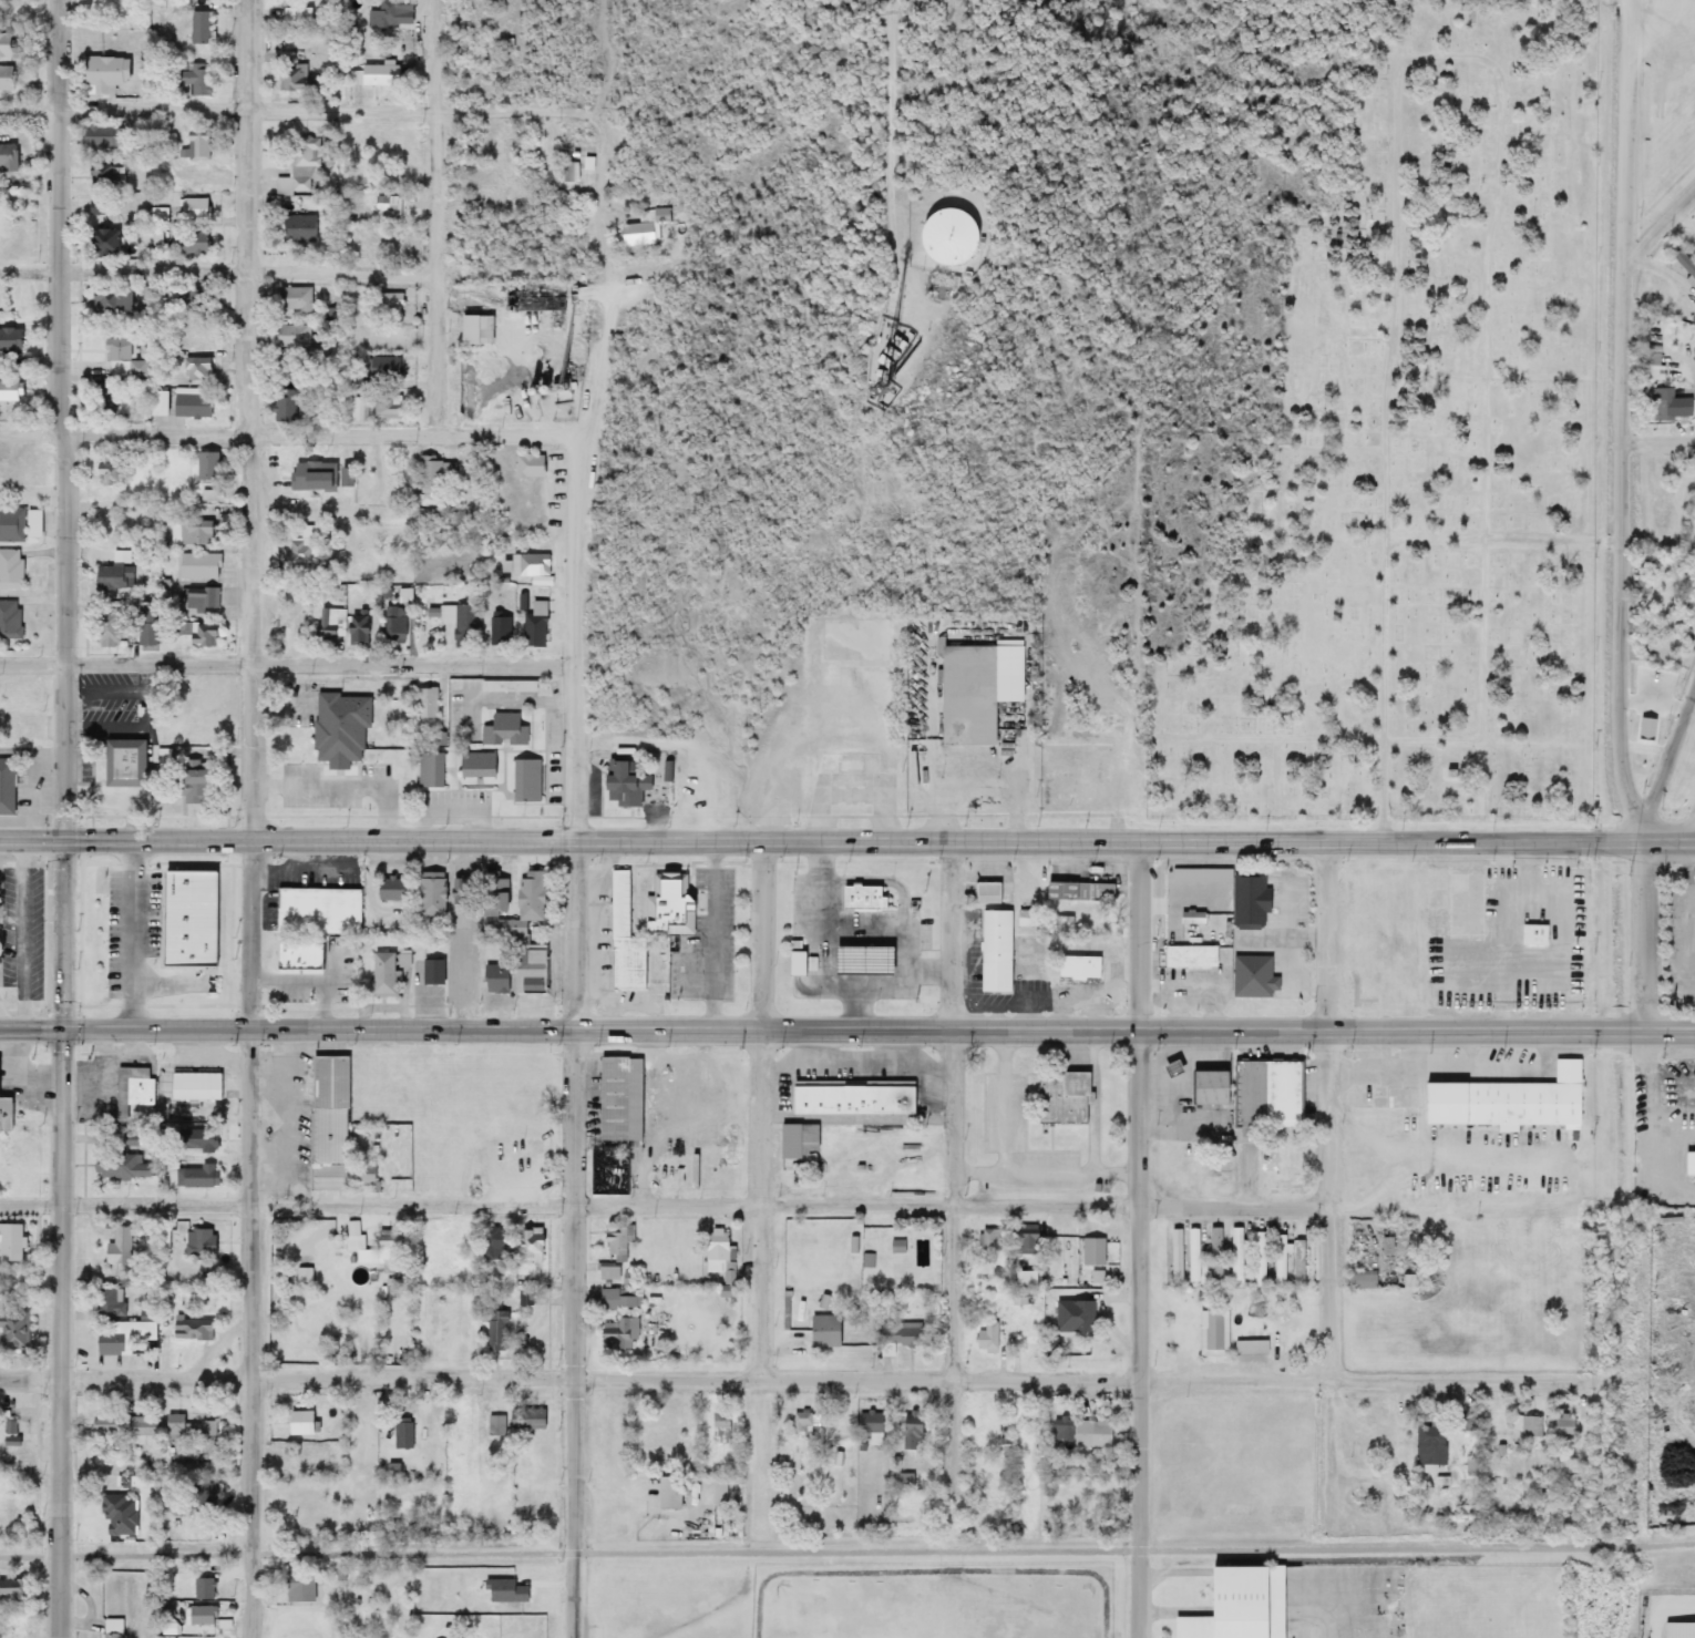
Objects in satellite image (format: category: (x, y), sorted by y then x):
road: (1663, 7)
building: (383, 13)
building: (295, 17)
building: (198, 29)
building: (101, 73)
building: (378, 76)
building: (4, 79)
building: (292, 79)
building: (192, 82)
road: (300, 111)
road: (894, 140)
building: (194, 145)
building: (6, 156)
building: (103, 176)
building: (298, 176)
building: (95, 207)
building: (387, 208)
building: (192, 211)
road: (438, 213)
building: (6, 221)
road: (1661, 223)
building: (157, 225)
building: (297, 228)
storage tank: (924, 238)
building: (926, 240)
building: (97, 243)
building: (188, 243)
road: (304, 272)
building: (913, 293)
building: (194, 298)
building: (292, 299)
building: (110, 303)
building: (387, 303)
road: (60, 330)
building: (473, 330)
building: (188, 336)
building: (291, 338)
building: (8, 340)
building: (867, 347)
building: (122, 359)
building: (192, 369)
building: (390, 369)
building: (9, 390)
building: (99, 400)
building: (155, 405)
building: (188, 405)
building: (1664, 406)
building: (284, 407)
building: (386, 408)
road: (1625, 409)
building: (1691, 409)
road: (1386, 411)
road: (248, 420)
road: (323, 428)
road: (1487, 439)
road: (1660, 441)
park: (1409, 448)
building: (205, 467)
building: (526, 467)
building: (106, 469)
building: (318, 475)
building: (434, 475)
road: (577, 477)
building: (209, 495)
building: (204, 511)
building: (18, 524)
building: (194, 532)
road: (1504, 534)
building: (299, 553)
building: (527, 564)
building: (197, 565)
building: (10, 567)
building: (114, 572)
building: (1688, 588)
building: (198, 597)
building: (1683, 605)
building: (9, 620)
building: (460, 622)
building: (140, 623)
building: (392, 625)
building: (105, 628)
building: (355, 628)
building: (531, 628)
building: (201, 635)
building: (851, 642)
road: (322, 659)
road: (33, 661)
building: (506, 685)
building: (975, 688)
road: (523, 694)
building: (423, 703)
road: (281, 710)
building: (338, 728)
building: (503, 730)
road: (1381, 738)
building: (1085, 743)
road: (66, 750)
road: (1668, 751)
building: (119, 762)
building: (475, 764)
building: (429, 770)
building: (525, 780)
building: (192, 781)
building: (618, 782)
building: (6, 787)
road: (350, 788)
road: (1277, 789)
building: (844, 796)
road: (1640, 827)
road: (880, 839)
road: (32, 840)
traffic signals: (65, 841)
road: (158, 856)
road: (888, 874)
building: (387, 889)
building: (459, 889)
building: (985, 892)
building: (1078, 892)
building: (1234, 893)
building: (492, 894)
building: (866, 894)
building: (425, 897)
building: (674, 902)
building: (1462, 903)
building: (318, 911)
building: (197, 912)
road: (1693, 915)
building: (1190, 919)
parking lot: (135, 922)
road: (234, 928)
road: (859, 932)
road: (1641, 932)
road: (134, 933)
building: (523, 933)
building: (1532, 935)
building: (623, 940)
building: (993, 952)
building: (297, 955)
building: (1188, 956)
building: (871, 960)
gas station: (871, 960)
building: (794, 964)
building: (1078, 968)
building: (117, 970)
road: (830, 970)
building: (432, 972)
building: (381, 974)
building: (1251, 977)
building: (494, 979)
road: (869, 986)
road: (165, 999)
road: (64, 1021)
road: (847, 1023)
traffic signals: (64, 1024)
road: (856, 1059)
building: (428, 1081)
building: (194, 1086)
building: (504, 1087)
building: (1208, 1087)
building: (127, 1089)
building: (1267, 1094)
building: (364, 1096)
building: (1060, 1097)
building: (617, 1098)
building: (849, 1099)
road: (1095, 1099)
building: (1506, 1102)
road: (1327, 1108)
road: (762, 1109)
building: (4, 1114)
building: (329, 1123)
road: (1006, 1124)
building: (119, 1139)
building: (795, 1140)
building: (201, 1142)
building: (1689, 1164)
building: (121, 1167)
building: (394, 1169)
building: (363, 1171)
road: (1073, 1173)
building: (194, 1177)
road: (957, 1178)
road: (30, 1200)
road: (758, 1204)
road: (1142, 1237)
road: (251, 1239)
road: (576, 1240)
building: (616, 1240)
building: (1026, 1240)
building: (163, 1241)
building: (989, 1241)
building: (10, 1242)
building: (199, 1243)
building: (491, 1243)
building: (527, 1246)
building: (1385, 1246)
building: (119, 1247)
building: (374, 1248)
building: (1092, 1251)
building: (717, 1252)
building: (1172, 1253)
building: (1236, 1253)
building: (1192, 1255)
building: (1215, 1255)
building: (1280, 1258)
building: (1298, 1261)
building: (1256, 1262)
building: (1360, 1280)
building: (619, 1300)
building: (111, 1302)
building: (1073, 1317)
building: (12, 1328)
building: (189, 1330)
building: (495, 1331)
building: (822, 1331)
building: (610, 1333)
building: (120, 1335)
building: (896, 1337)
building: (1212, 1337)
building: (985, 1339)
road: (794, 1376)
road: (58, 1419)
building: (297, 1420)
building: (525, 1421)
building: (804, 1423)
building: (869, 1425)
building: (123, 1426)
building: (495, 1426)
building: (719, 1427)
building: (834, 1427)
building: (1525, 1427)
building: (188, 1429)
building: (1085, 1431)
building: (401, 1433)
building: (908, 1433)
building: (1429, 1445)
building: (1003, 1446)
building: (904, 1481)
building: (990, 1481)
building: (299, 1493)
building: (667, 1493)
building: (201, 1495)
building: (116, 1515)
road: (847, 1552)
building: (298, 1586)
building: (202, 1588)
building: (12, 1590)
building: (1235, 1605)
road: (1339, 1613)
building: (194, 1615)
building: (111, 1629)

